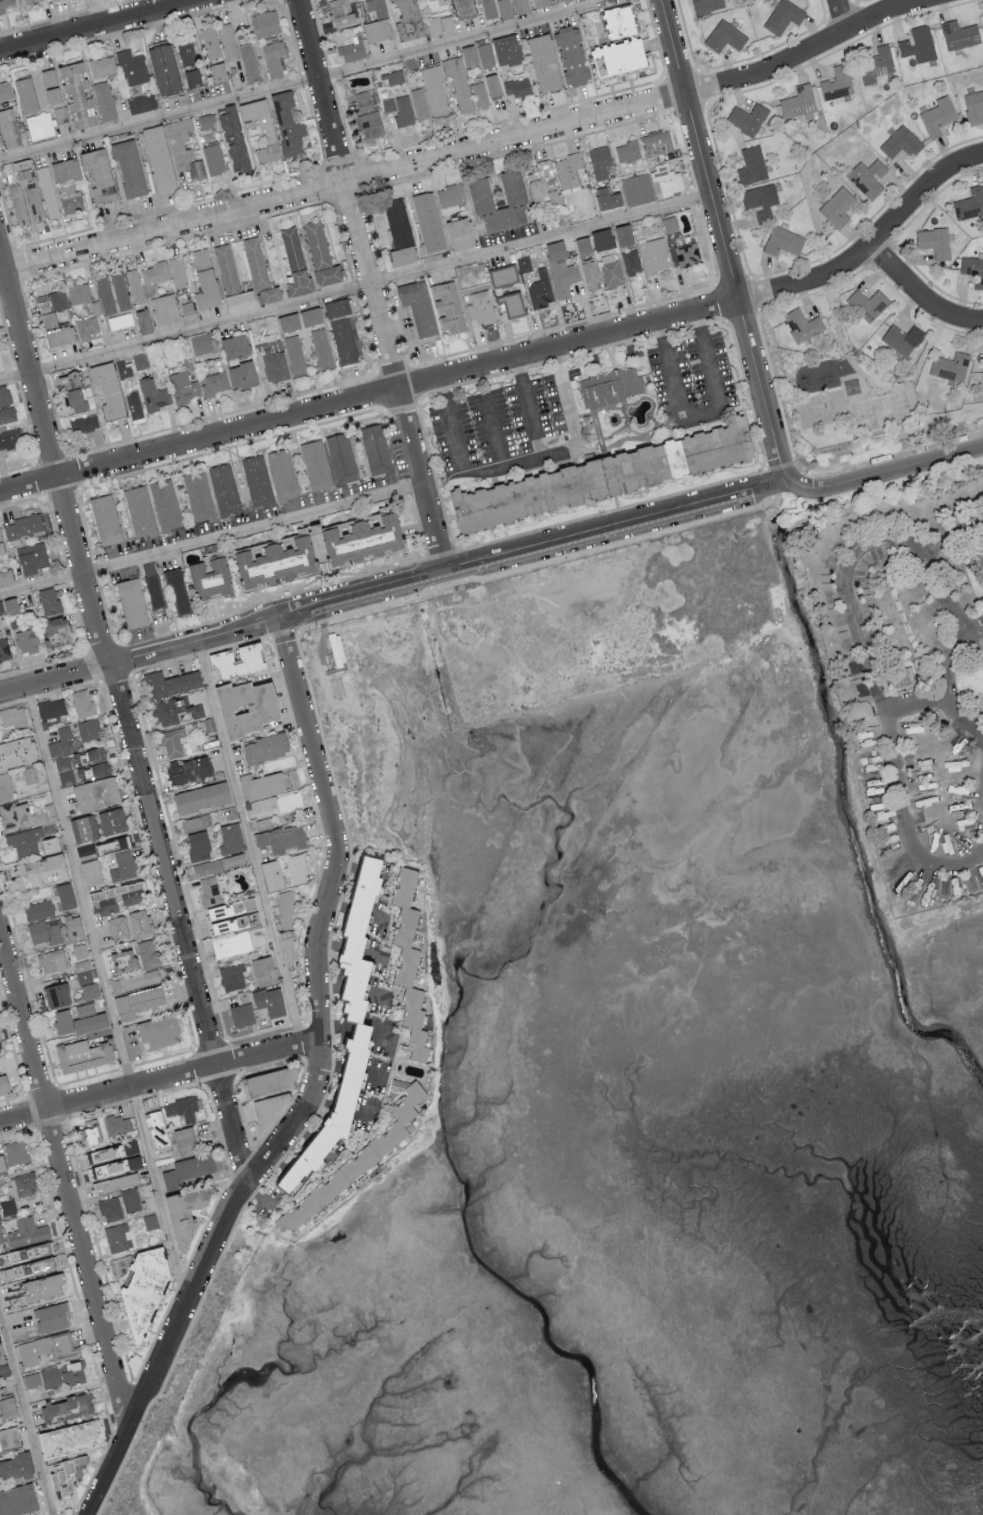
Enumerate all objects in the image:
building: (429, 0)
building: (558, 0)
building: (31, 2)
building: (540, 3)
building: (6, 4)
building: (519, 6)
building: (706, 6)
building: (376, 7)
building: (463, 8)
building: (488, 8)
building: (503, 9)
building: (339, 12)
road: (841, 15)
building: (784, 16)
building: (407, 19)
building: (619, 20)
building: (446, 22)
building: (264, 23)
road: (99, 25)
building: (434, 25)
building: (375, 30)
building: (959, 34)
building: (724, 36)
building: (228, 41)
building: (209, 42)
building: (918, 44)
building: (506, 50)
building: (183, 52)
building: (468, 55)
building: (620, 55)
building: (485, 56)
building: (570, 56)
building: (273, 57)
building: (543, 62)
building: (249, 63)
building: (875, 64)
building: (103, 65)
building: (598, 65)
building: (132, 67)
building: (163, 69)
building: (217, 71)
building: (394, 77)
road: (307, 81)
building: (837, 83)
building: (460, 84)
building: (492, 85)
building: (50, 87)
building: (517, 87)
building: (5, 90)
building: (435, 90)
building: (75, 93)
building: (479, 94)
building: (25, 95)
building: (105, 100)
building: (363, 101)
building: (798, 102)
building: (141, 103)
building: (420, 103)
building: (974, 107)
building: (399, 109)
building: (61, 114)
building: (938, 115)
building: (746, 118)
building: (206, 121)
building: (288, 123)
building: (368, 124)
building: (39, 126)
building: (7, 128)
building: (261, 128)
building: (233, 141)
building: (656, 142)
building: (901, 142)
building: (183, 148)
road: (471, 149)
building: (627, 151)
building: (158, 157)
building: (213, 158)
building: (599, 161)
building: (751, 165)
building: (128, 167)
building: (64, 170)
building: (568, 170)
building: (98, 175)
building: (867, 177)
building: (666, 179)
building: (542, 186)
building: (637, 189)
building: (48, 191)
building: (513, 193)
building: (25, 194)
building: (450, 194)
building: (70, 198)
building: (606, 198)
building: (760, 200)
building: (970, 203)
building: (837, 206)
building: (427, 221)
building: (669, 223)
building: (399, 232)
building: (459, 233)
building: (623, 235)
building: (601, 239)
road: (722, 239)
building: (783, 241)
building: (935, 241)
building: (582, 245)
building: (320, 254)
building: (687, 254)
building: (654, 255)
building: (295, 261)
building: (631, 262)
building: (523, 263)
building: (973, 269)
building: (561, 270)
building: (611, 270)
building: (177, 271)
building: (155, 272)
building: (259, 272)
building: (502, 275)
building: (590, 275)
building: (204, 279)
building: (231, 280)
road: (370, 283)
building: (134, 285)
road: (355, 288)
building: (541, 289)
building: (113, 292)
building: (78, 293)
road: (920, 297)
building: (509, 303)
building: (867, 304)
building: (417, 307)
building: (447, 307)
building: (480, 307)
building: (164, 308)
road: (834, 315)
building: (310, 316)
building: (53, 318)
building: (120, 321)
building: (143, 321)
building: (288, 322)
building: (802, 325)
building: (86, 328)
building: (341, 329)
building: (902, 338)
building: (200, 343)
building: (234, 346)
road: (928, 347)
building: (321, 348)
building: (295, 354)
building: (273, 360)
road: (510, 360)
building: (140, 361)
building: (950, 366)
building: (123, 369)
building: (241, 375)
parking lot: (691, 376)
building: (978, 377)
building: (68, 380)
road: (873, 380)
building: (213, 383)
building: (850, 383)
building: (183, 387)
building: (610, 387)
building: (107, 389)
building: (4, 395)
building: (153, 395)
building: (72, 397)
park: (846, 397)
building: (134, 405)
park: (885, 410)
building: (7, 414)
road: (702, 415)
building: (84, 423)
parking lot: (508, 427)
road: (494, 429)
building: (10, 439)
building: (374, 449)
road: (559, 452)
building: (341, 458)
building: (314, 465)
road: (463, 466)
road: (884, 470)
building: (282, 474)
building: (599, 476)
building: (256, 480)
building: (223, 489)
building: (198, 496)
building: (138, 511)
building: (104, 519)
building: (21, 528)
road: (952, 532)
road: (212, 539)
building: (360, 540)
road: (533, 544)
building: (1, 546)
building: (32, 558)
building: (273, 562)
building: (6, 576)
building: (209, 579)
building: (151, 584)
road: (843, 585)
building: (176, 590)
road: (951, 590)
building: (49, 602)
building: (130, 603)
building: (8, 606)
building: (57, 632)
building: (26, 641)
road: (947, 648)
building: (4, 649)
road: (140, 656)
building: (237, 661)
building: (903, 677)
building: (171, 682)
road: (908, 698)
building: (82, 703)
building: (50, 707)
building: (244, 707)
building: (175, 710)
building: (11, 716)
road: (123, 719)
road: (954, 722)
building: (207, 724)
building: (88, 729)
building: (0, 735)
building: (172, 740)
building: (61, 741)
building: (264, 747)
building: (16, 750)
building: (85, 761)
building: (189, 768)
building: (29, 775)
building: (66, 778)
building: (290, 778)
building: (261, 784)
building: (5, 786)
building: (94, 793)
building: (200, 796)
building: (288, 801)
building: (13, 813)
building: (45, 814)
road: (900, 819)
building: (111, 820)
building: (195, 822)
building: (263, 823)
building: (82, 827)
building: (230, 837)
building: (282, 839)
building: (31, 841)
road: (248, 842)
building: (112, 844)
building: (197, 845)
building: (219, 863)
building: (123, 865)
building: (296, 869)
building: (37, 870)
building: (90, 871)
building: (271, 874)
building: (208, 890)
building: (64, 895)
building: (114, 897)
building: (286, 907)
building: (38, 909)
building: (232, 914)
building: (139, 923)
building: (72, 926)
building: (117, 927)
building: (46, 931)
building: (238, 941)
building: (286, 946)
building: (79, 950)
building: (147, 953)
building: (122, 959)
building: (408, 959)
building: (52, 960)
building: (263, 970)
building: (83, 971)
building: (232, 976)
building: (139, 979)
building: (116, 985)
building: (89, 990)
road: (105, 993)
building: (56, 994)
building: (138, 999)
building: (269, 1000)
building: (241, 1014)
building: (77, 1019)
building: (356, 1022)
building: (157, 1030)
building: (0, 1050)
building: (83, 1055)
road: (160, 1080)
building: (266, 1080)
building: (3, 1083)
road: (317, 1090)
building: (269, 1106)
building: (182, 1107)
building: (116, 1124)
building: (156, 1129)
building: (90, 1134)
building: (184, 1140)
building: (15, 1151)
building: (357, 1159)
building: (1, 1163)
building: (114, 1166)
building: (187, 1169)
road: (64, 1175)
building: (114, 1182)
building: (25, 1183)
road: (259, 1195)
building: (129, 1199)
building: (7, 1206)
building: (110, 1208)
building: (186, 1213)
building: (150, 1221)
building: (27, 1231)
building: (117, 1237)
building: (0, 1238)
building: (28, 1251)
building: (32, 1266)
building: (5, 1273)
building: (41, 1286)
building: (51, 1316)
building: (47, 1347)
building: (4, 1370)
building: (63, 1373)
building: (32, 1379)
building: (67, 1405)
building: (7, 1406)
road: (25, 1416)
building: (66, 1436)
building: (8, 1437)
building: (15, 1465)
building: (66, 1473)
building: (17, 1499)

